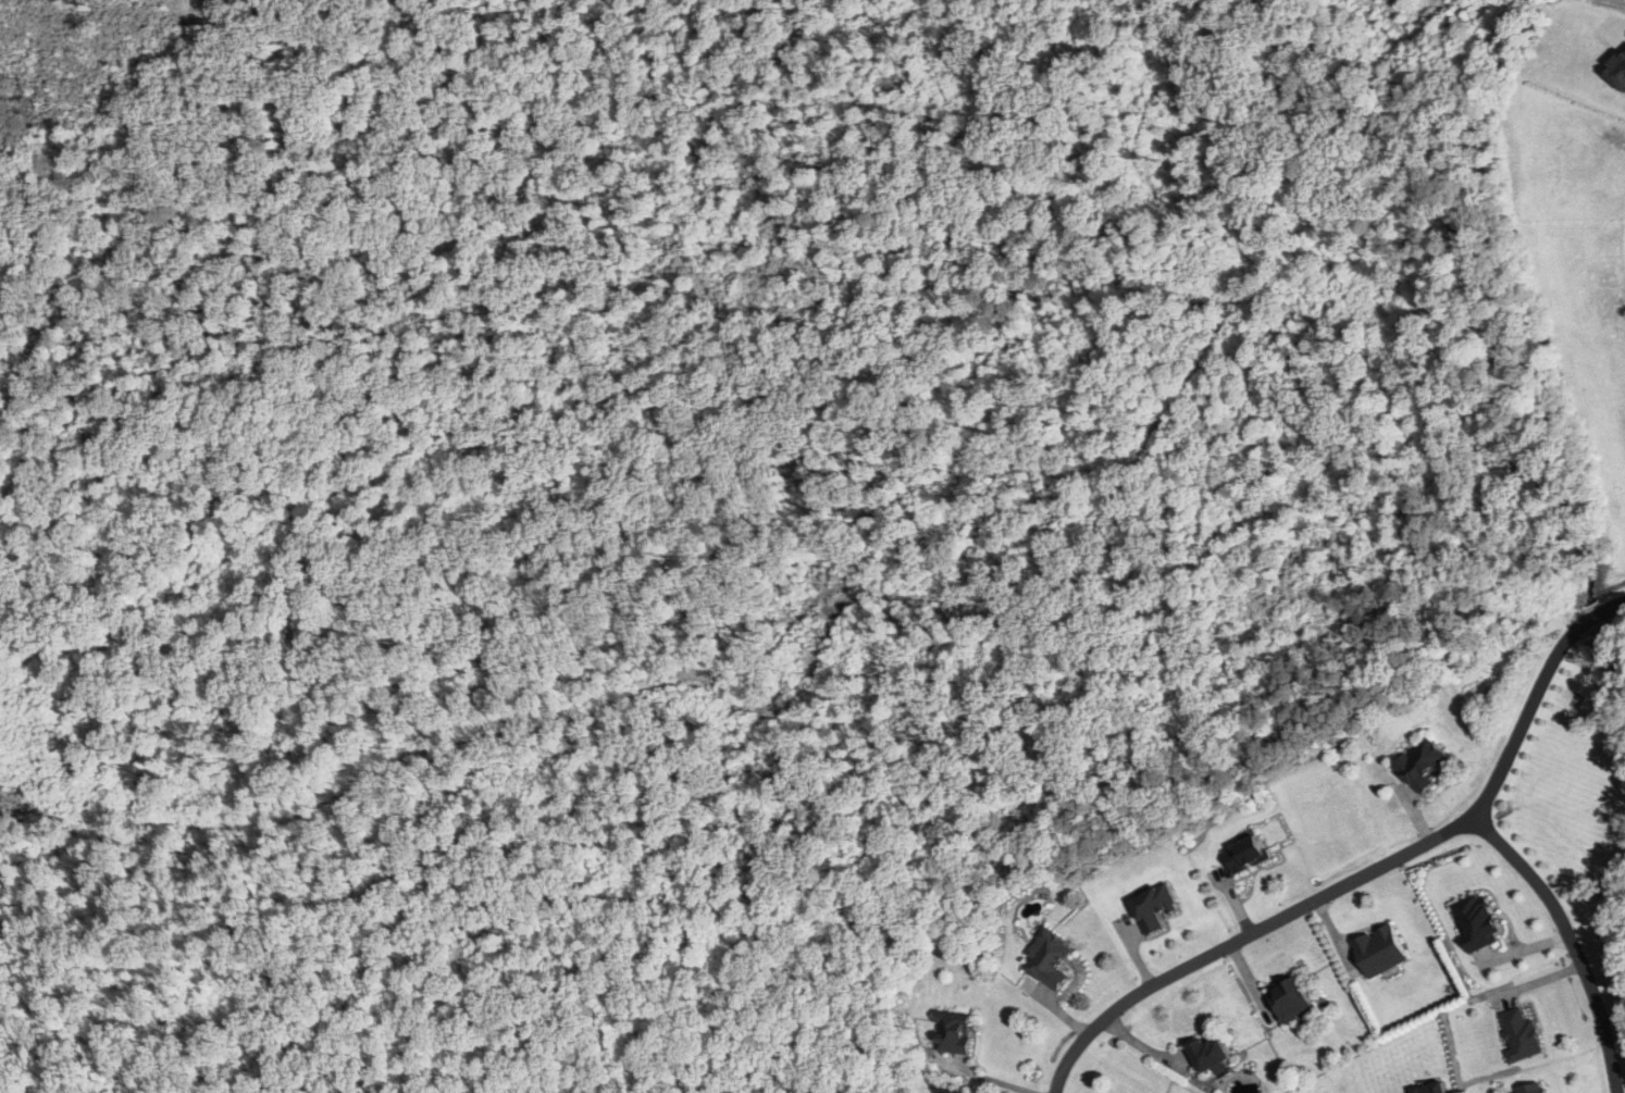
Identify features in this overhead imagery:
building: (1423, 763)
building: (1246, 855)
road: (1366, 874)
building: (1153, 909)
building: (1476, 922)
road: (1571, 940)
building: (1380, 951)
building: (1047, 959)
building: (1291, 1001)
building: (953, 1032)
building: (1519, 1035)
building: (1210, 1053)
road: (990, 1078)
building: (1429, 1089)
building: (1529, 1089)
road: (941, 1091)

